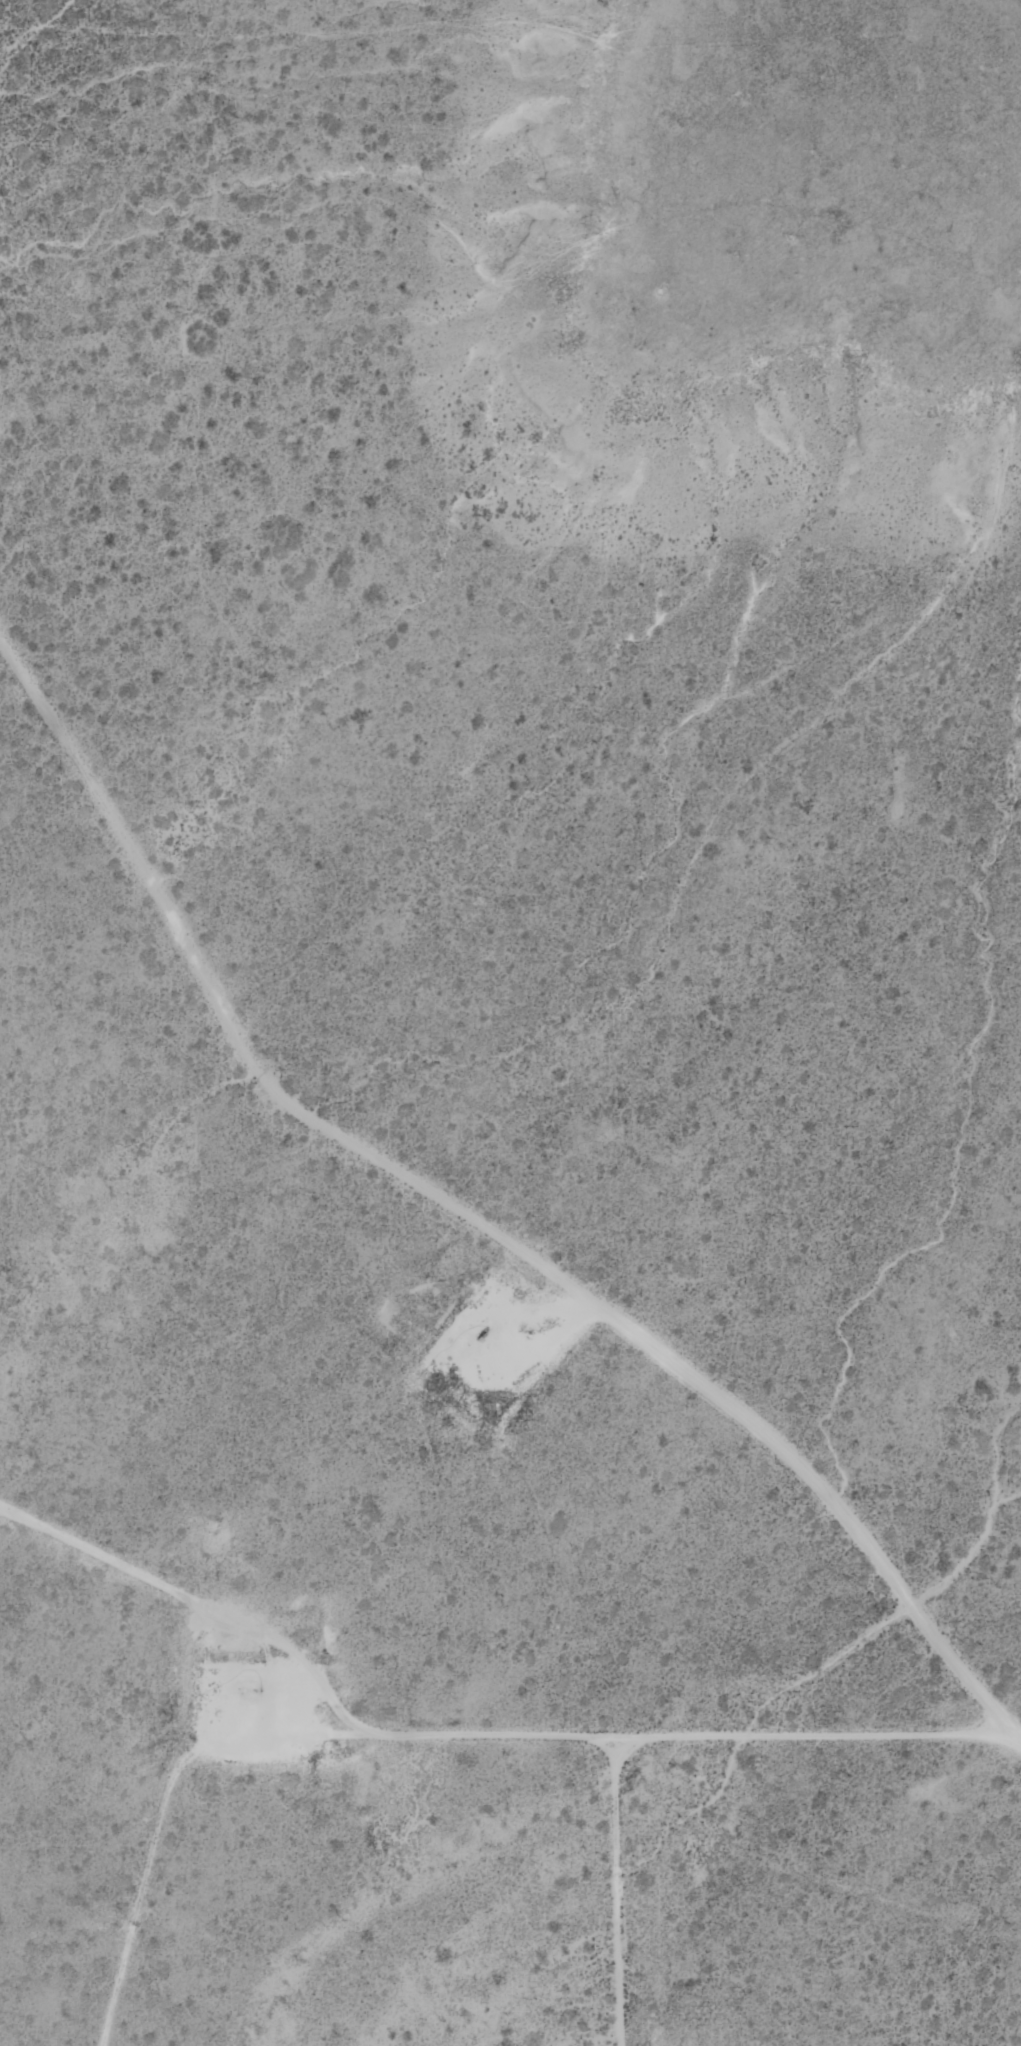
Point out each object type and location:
road: (466, 1215)
road: (415, 1708)

